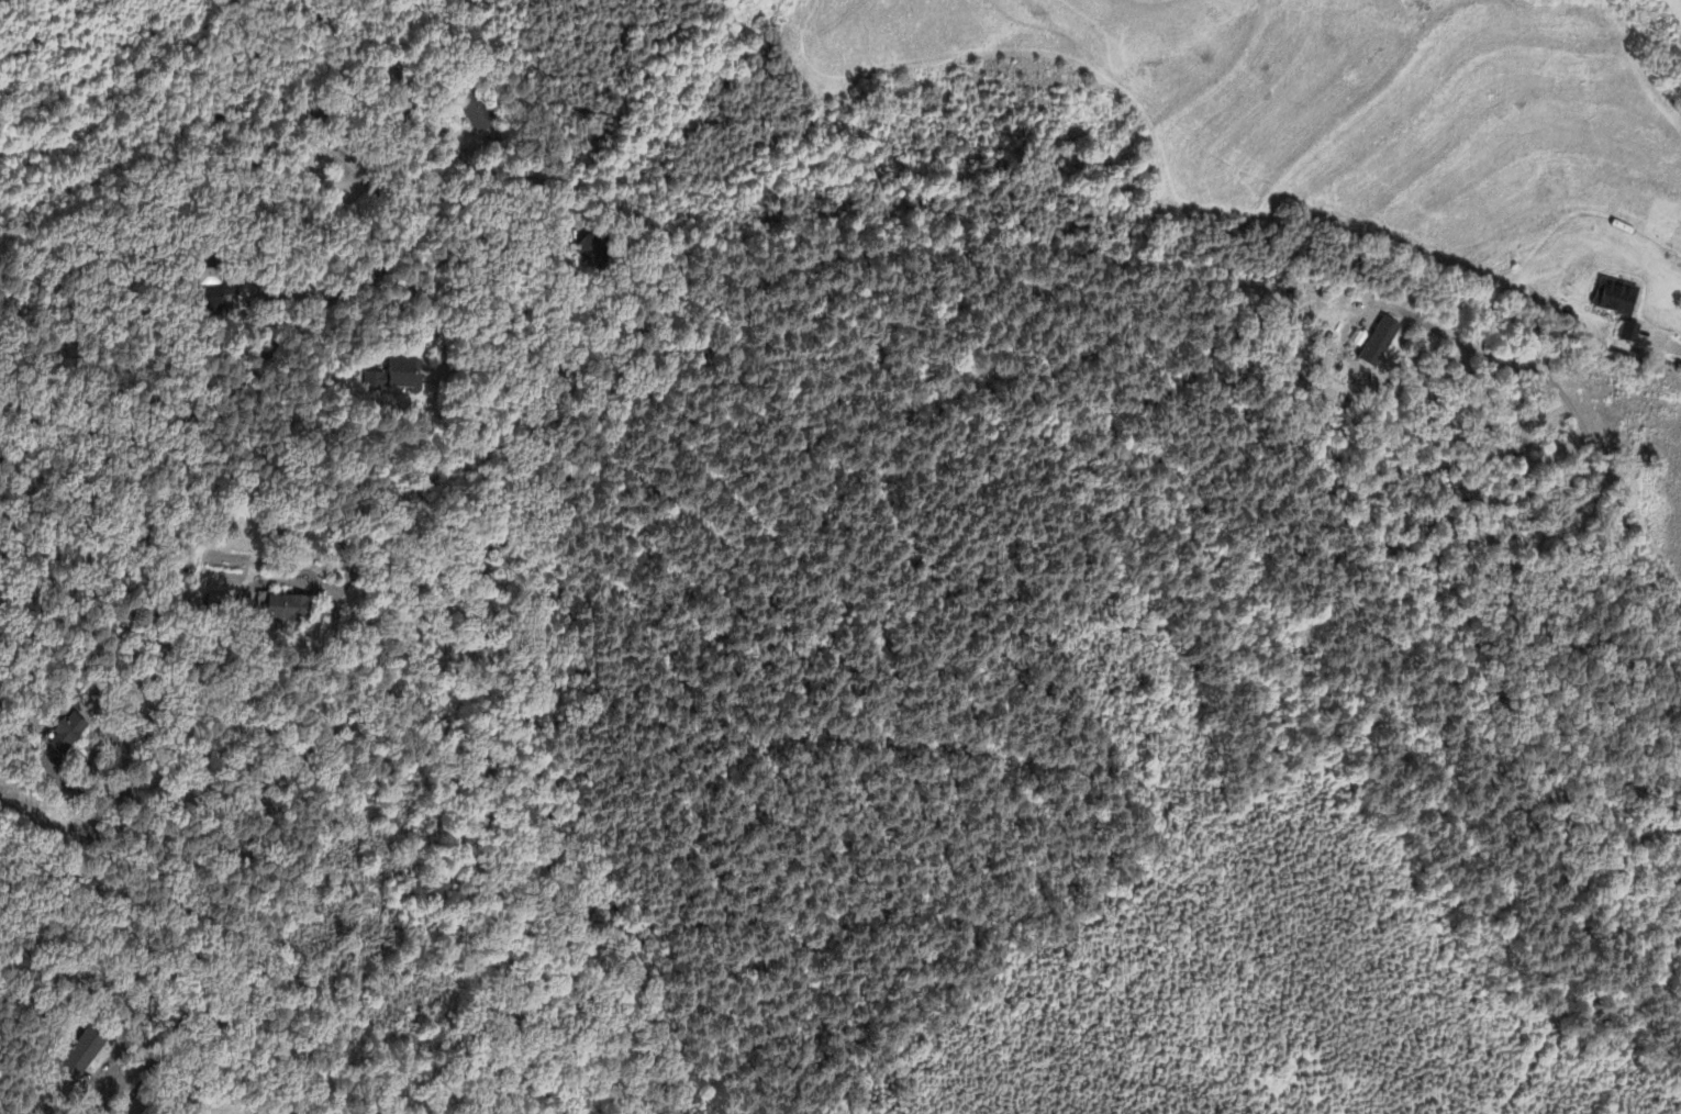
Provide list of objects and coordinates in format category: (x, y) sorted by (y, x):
building: (475, 114)
building: (590, 252)
road: (283, 290)
building: (215, 298)
building: (1612, 298)
road: (303, 313)
building: (1626, 334)
building: (1376, 344)
road: (1676, 347)
building: (398, 377)
road: (329, 489)
road: (1496, 511)
building: (289, 609)
building: (69, 734)
road: (86, 758)
road: (193, 956)
building: (86, 1052)
road: (108, 1062)

